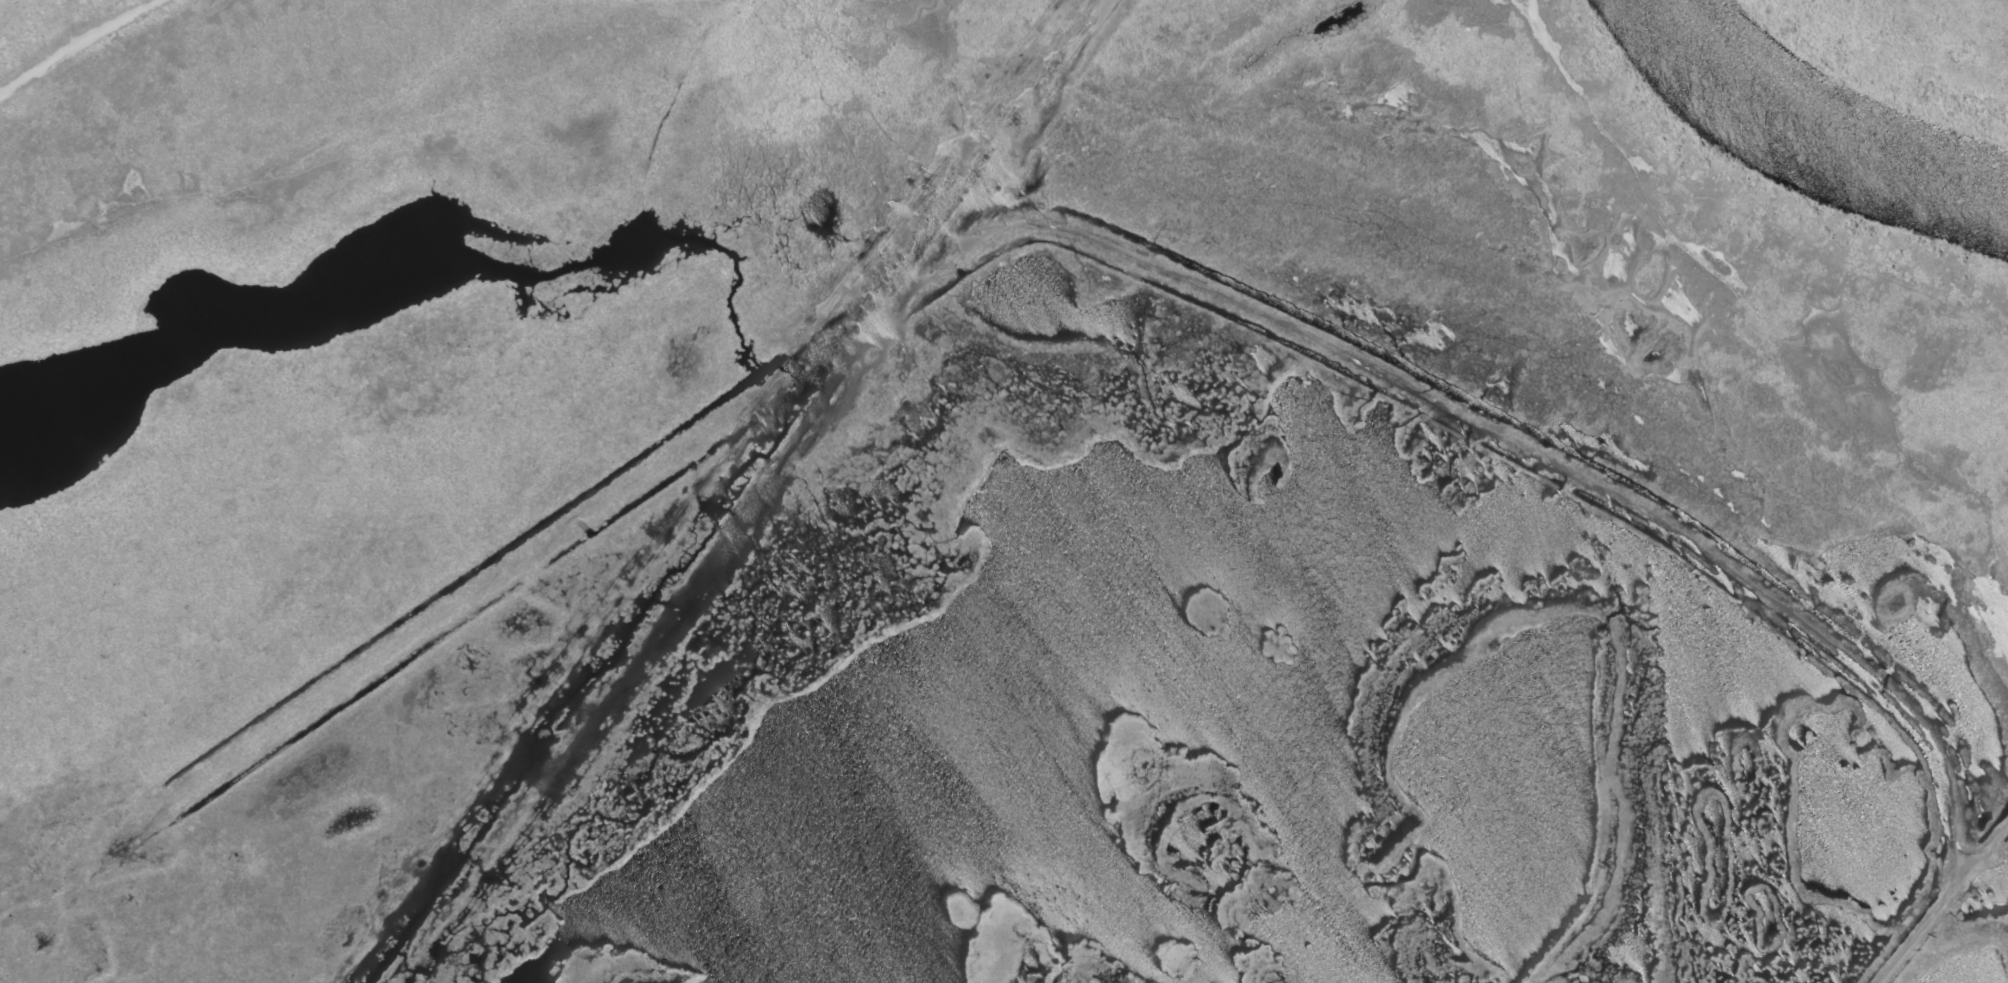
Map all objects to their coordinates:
river: (1814, 151)

